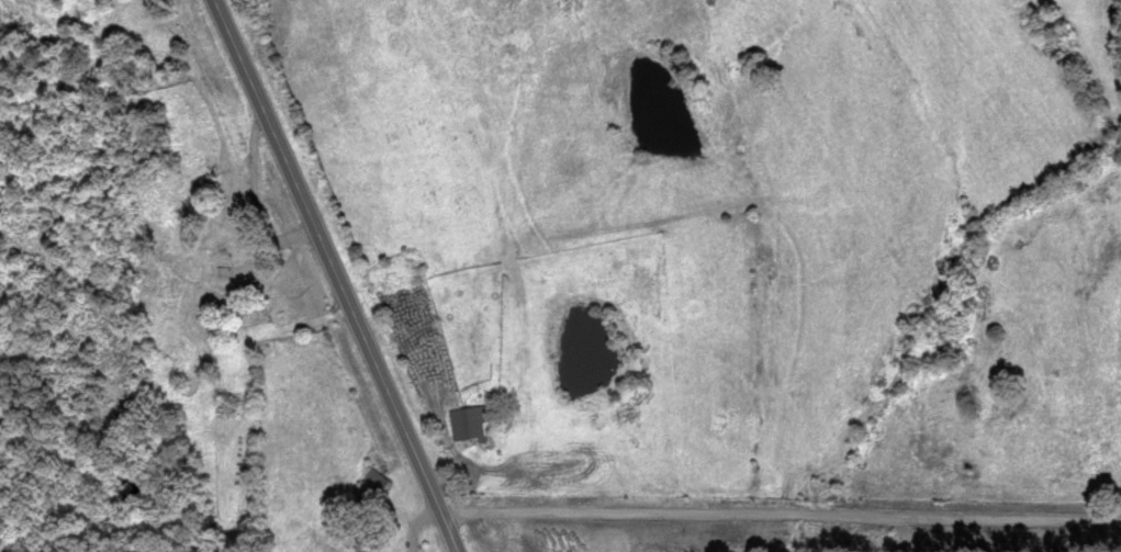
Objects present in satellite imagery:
road: (337, 275)
building: (218, 286)
building: (618, 288)
building: (470, 424)
building: (372, 488)
road: (782, 516)

